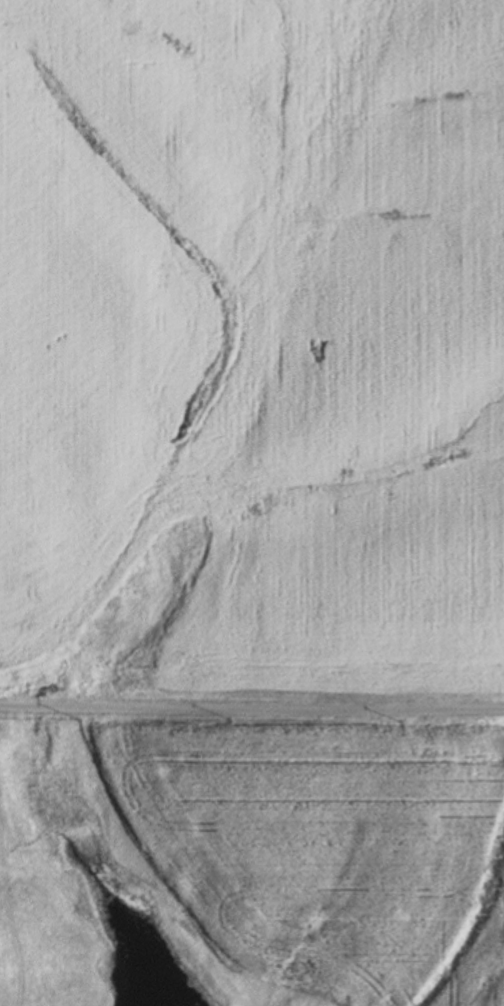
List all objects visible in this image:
road: (251, 714)

